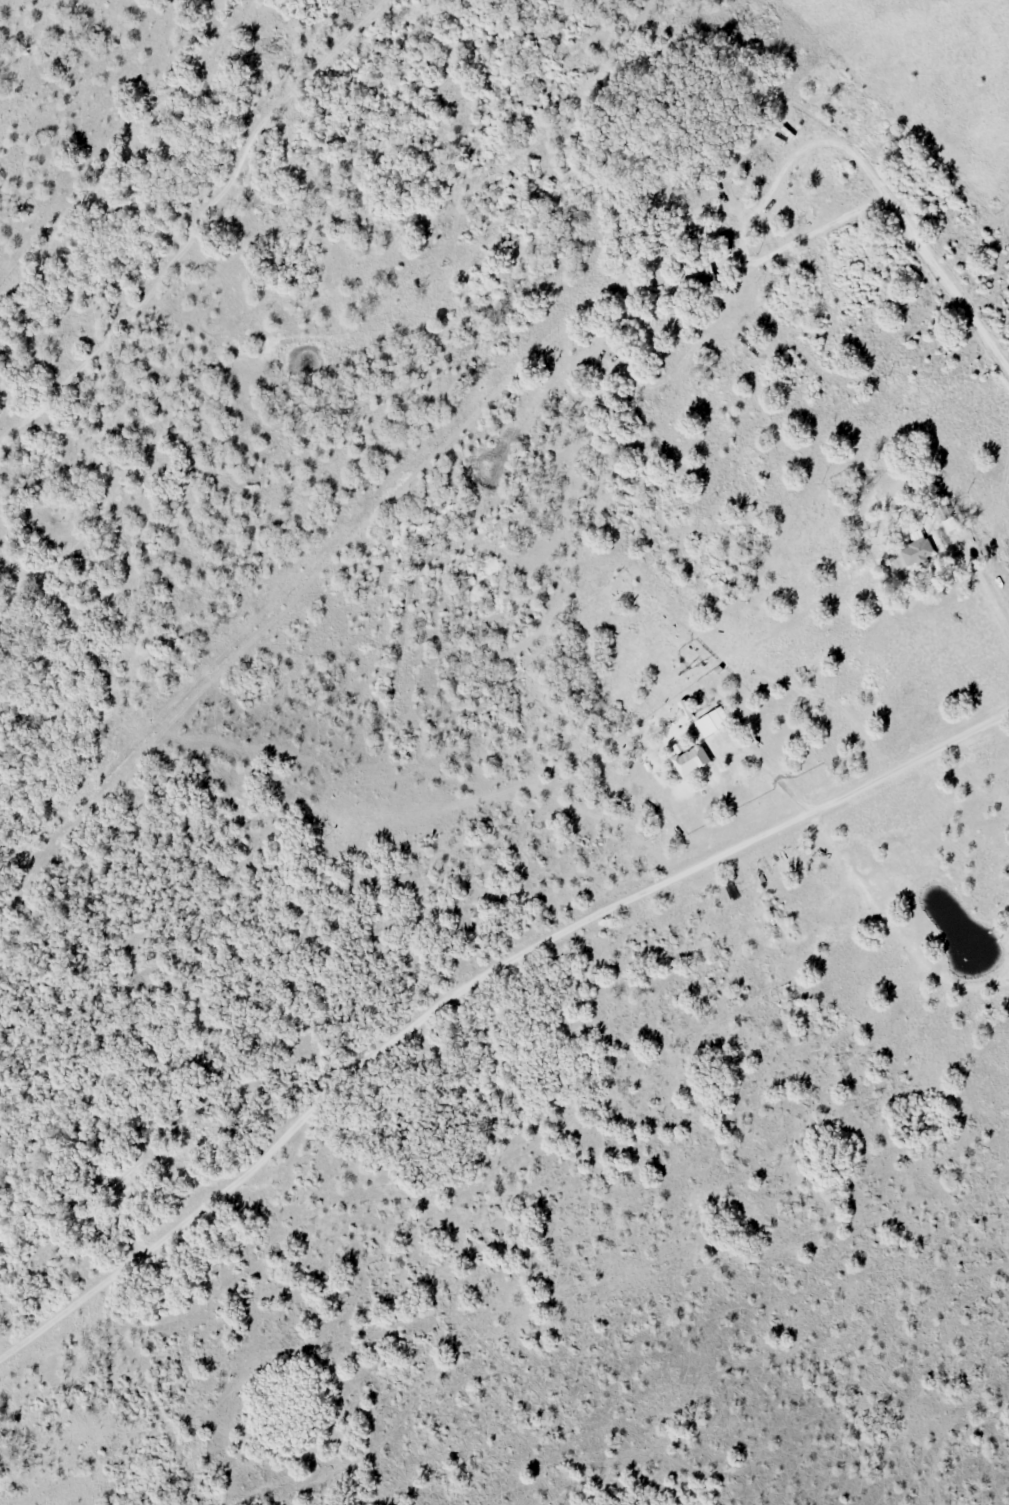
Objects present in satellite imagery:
building: (704, 278)
building: (916, 552)
building: (710, 724)
building: (689, 762)
road: (471, 987)
building: (123, 1178)

